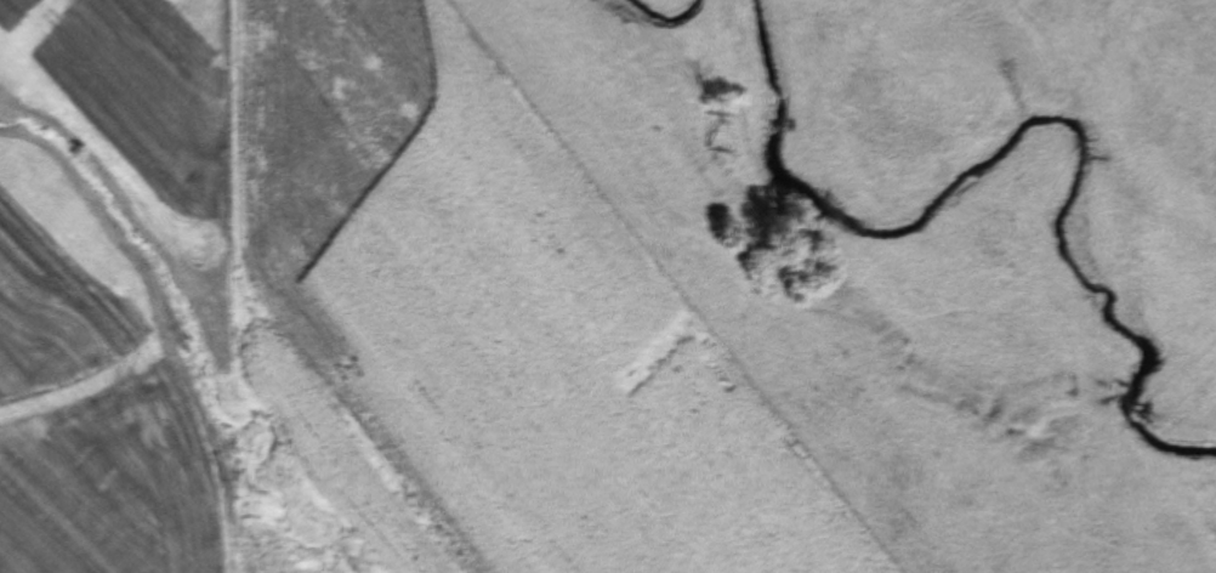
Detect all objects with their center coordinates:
river: (659, 13)
river: (1021, 132)

